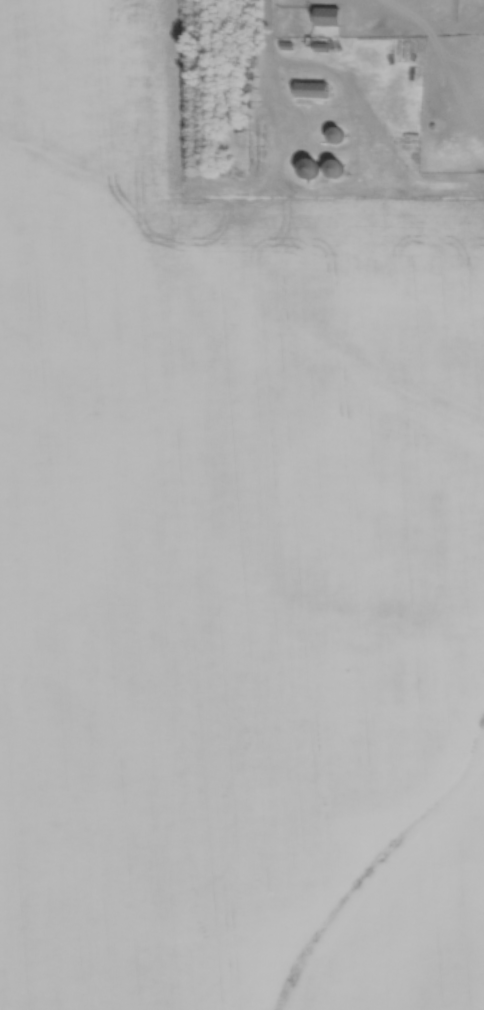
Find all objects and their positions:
building: (328, 14)
building: (313, 88)
building: (336, 133)
building: (309, 166)
building: (336, 166)

